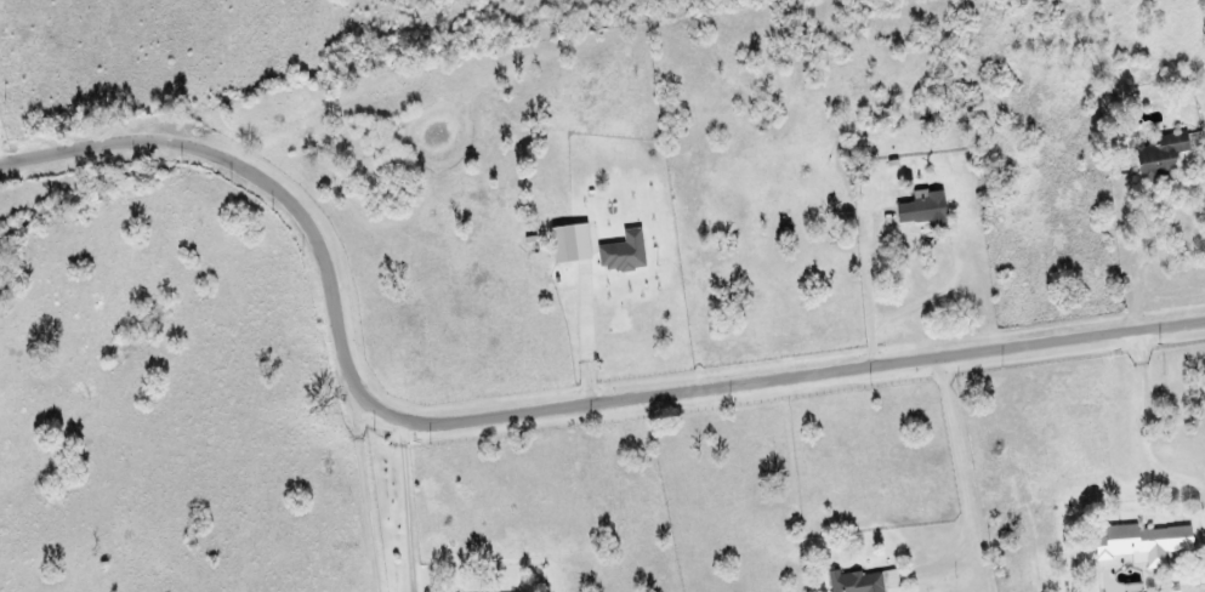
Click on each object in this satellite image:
building: (920, 114)
building: (1164, 156)
building: (926, 209)
building: (574, 244)
building: (626, 254)
road: (527, 408)
building: (1146, 545)
building: (866, 581)

